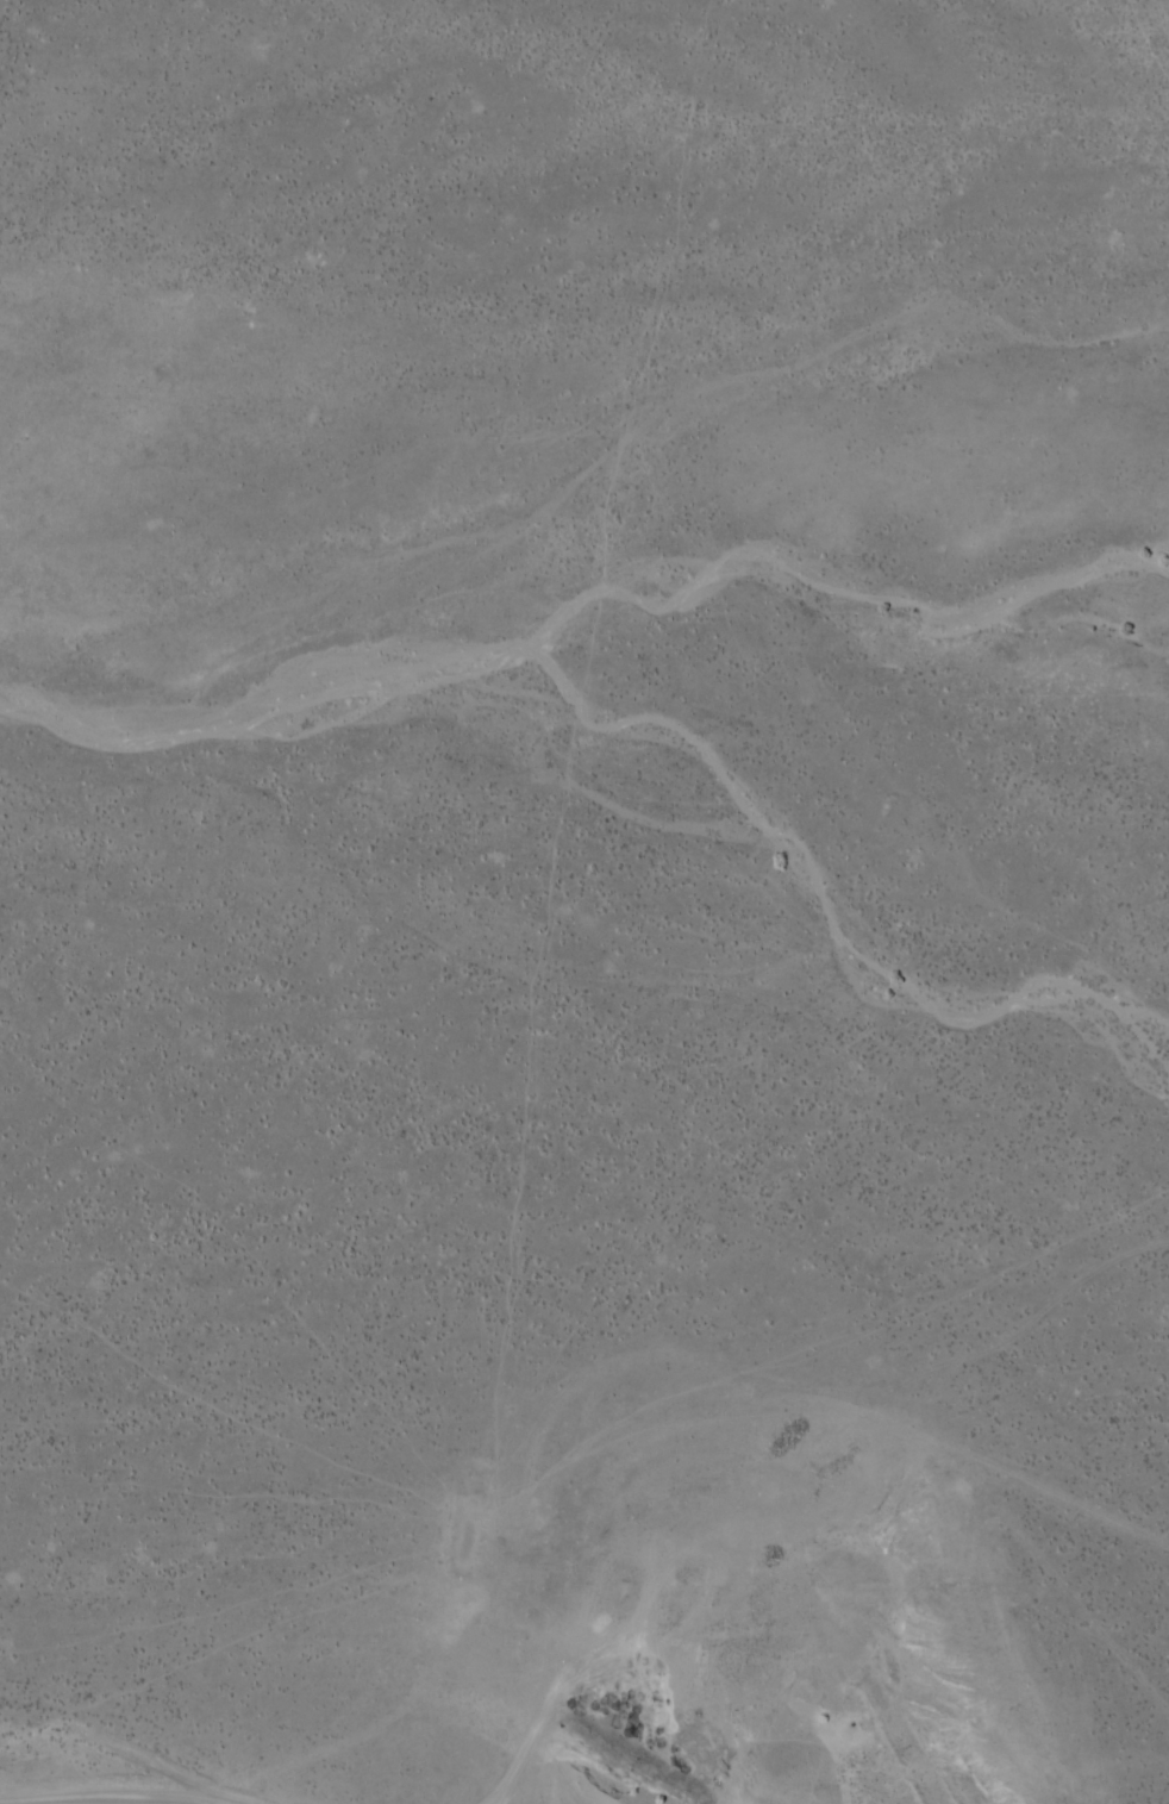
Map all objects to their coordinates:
road: (533, 1740)
road: (139, 1794)
road: (495, 1802)

